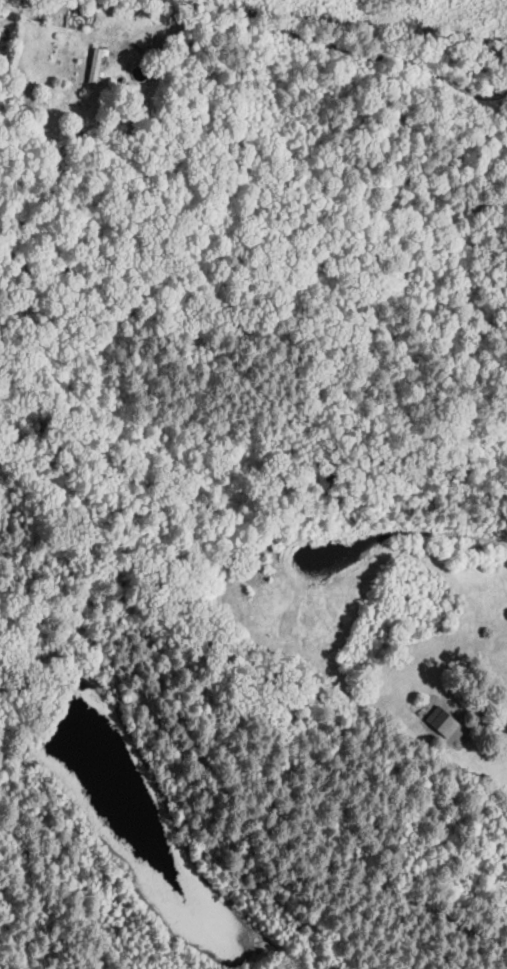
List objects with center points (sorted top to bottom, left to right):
road: (363, 63)
building: (94, 68)
building: (501, 735)

